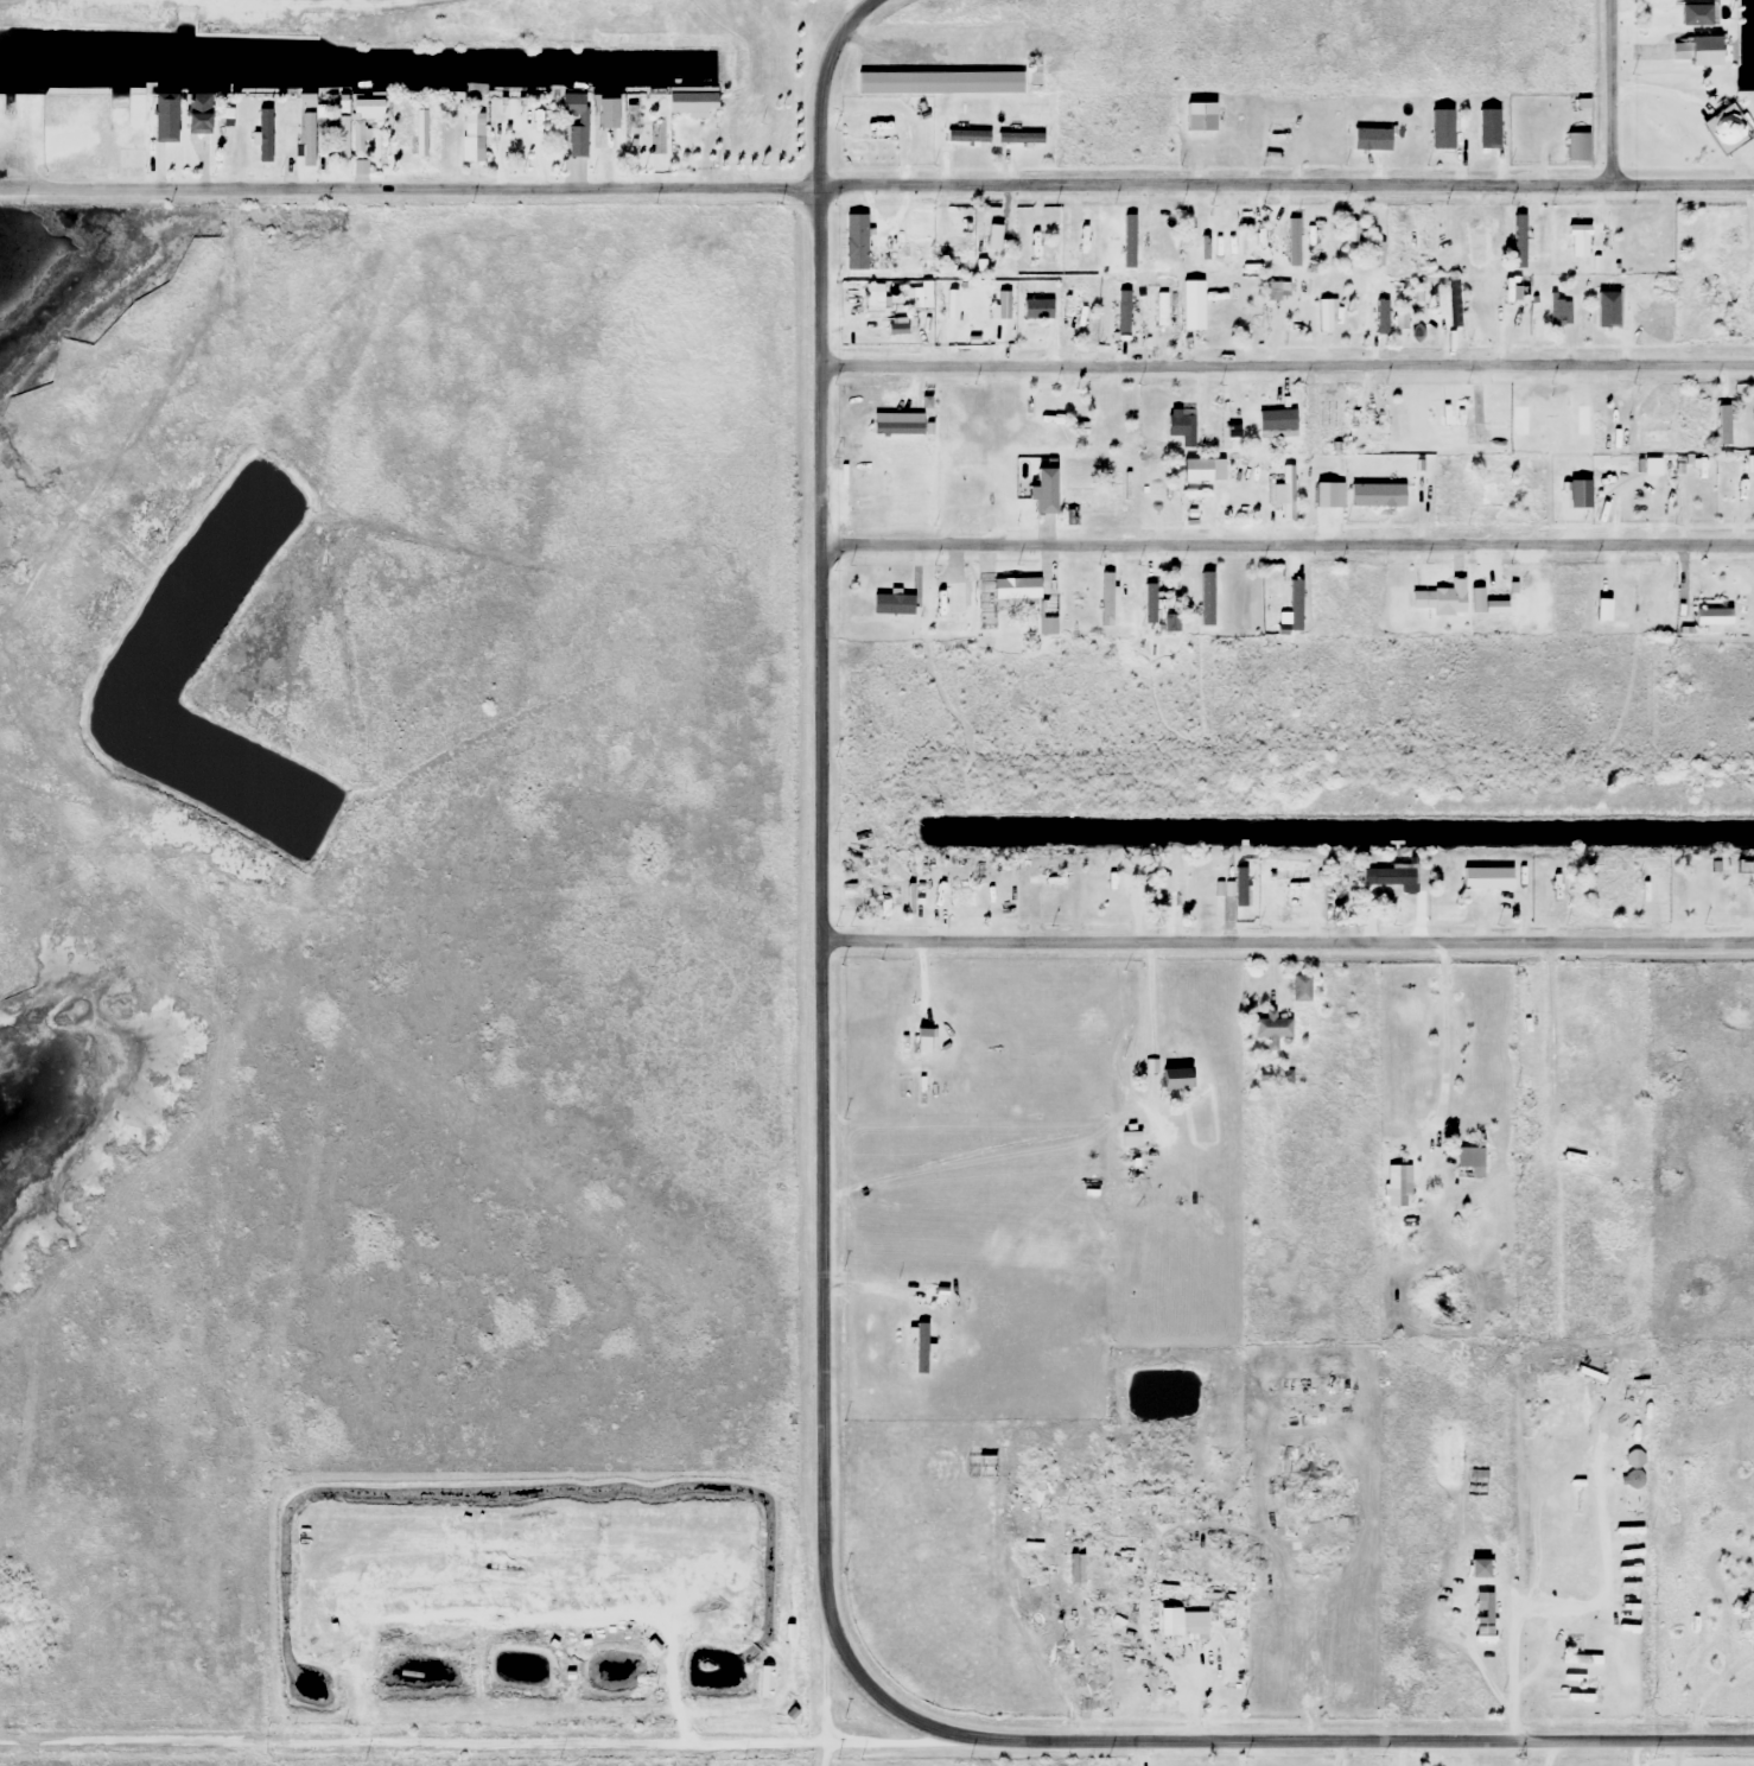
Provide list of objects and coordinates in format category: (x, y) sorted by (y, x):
building: (1690, 15)
building: (1693, 51)
building: (1032, 78)
building: (938, 83)
road: (816, 85)
road: (1607, 93)
building: (311, 101)
building: (373, 107)
building: (600, 114)
building: (1199, 117)
building: (170, 119)
building: (578, 121)
building: (661, 121)
building: (227, 126)
building: (347, 128)
building: (1486, 129)
building: (1440, 131)
building: (1723, 133)
building: (419, 134)
building: (312, 140)
building: (267, 141)
building: (469, 141)
building: (363, 142)
building: (292, 145)
building: (1576, 147)
building: (134, 158)
road: (1283, 185)
road: (407, 188)
building: (850, 231)
building: (1729, 233)
building: (1521, 234)
building: (990, 236)
building: (1135, 237)
building: (1645, 239)
building: (1205, 242)
building: (1290, 242)
building: (1576, 242)
building: (1400, 253)
building: (884, 260)
building: (1250, 268)
building: (1277, 291)
building: (1753, 291)
building: (871, 296)
building: (1194, 306)
building: (997, 307)
building: (1035, 310)
building: (1162, 310)
building: (1304, 312)
building: (1558, 313)
building: (1121, 315)
building: (1647, 315)
building: (1086, 317)
building: (1385, 318)
road: (1286, 364)
building: (1324, 415)
building: (1546, 418)
building: (1275, 423)
building: (895, 424)
building: (1187, 432)
building: (1496, 434)
building: (1734, 434)
building: (1035, 436)
building: (960, 488)
building: (872, 493)
building: (1036, 493)
building: (1288, 494)
building: (1100, 495)
building: (1322, 495)
building: (1487, 495)
building: (1374, 496)
road: (1285, 547)
building: (1068, 599)
building: (949, 601)
building: (1017, 601)
building: (1206, 602)
building: (884, 604)
building: (1666, 609)
building: (1718, 614)
building: (1158, 616)
building: (1477, 869)
building: (1387, 879)
building: (1601, 884)
building: (1239, 887)
building: (1167, 890)
road: (1286, 940)
road: (819, 957)
building: (1299, 989)
building: (1270, 1031)
building: (911, 1044)
road: (1443, 1053)
building: (1170, 1081)
building: (1577, 1155)
building: (1126, 1161)
building: (1468, 1163)
building: (1394, 1193)
building: (933, 1296)
building: (920, 1348)
road: (1538, 1538)
building: (1562, 1561)
building: (1474, 1570)
building: (1743, 1611)
building: (1481, 1619)
building: (1190, 1624)
road: (1316, 1741)

